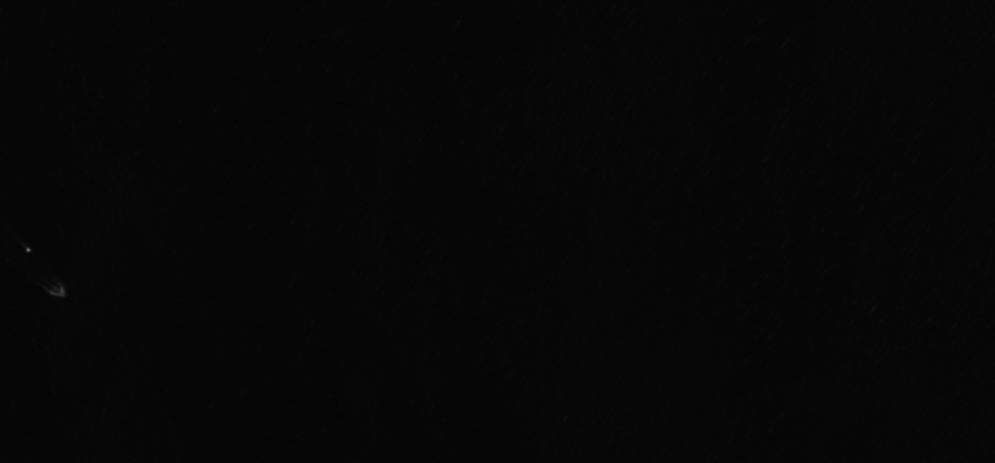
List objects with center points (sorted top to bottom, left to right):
park: (497, 231)

